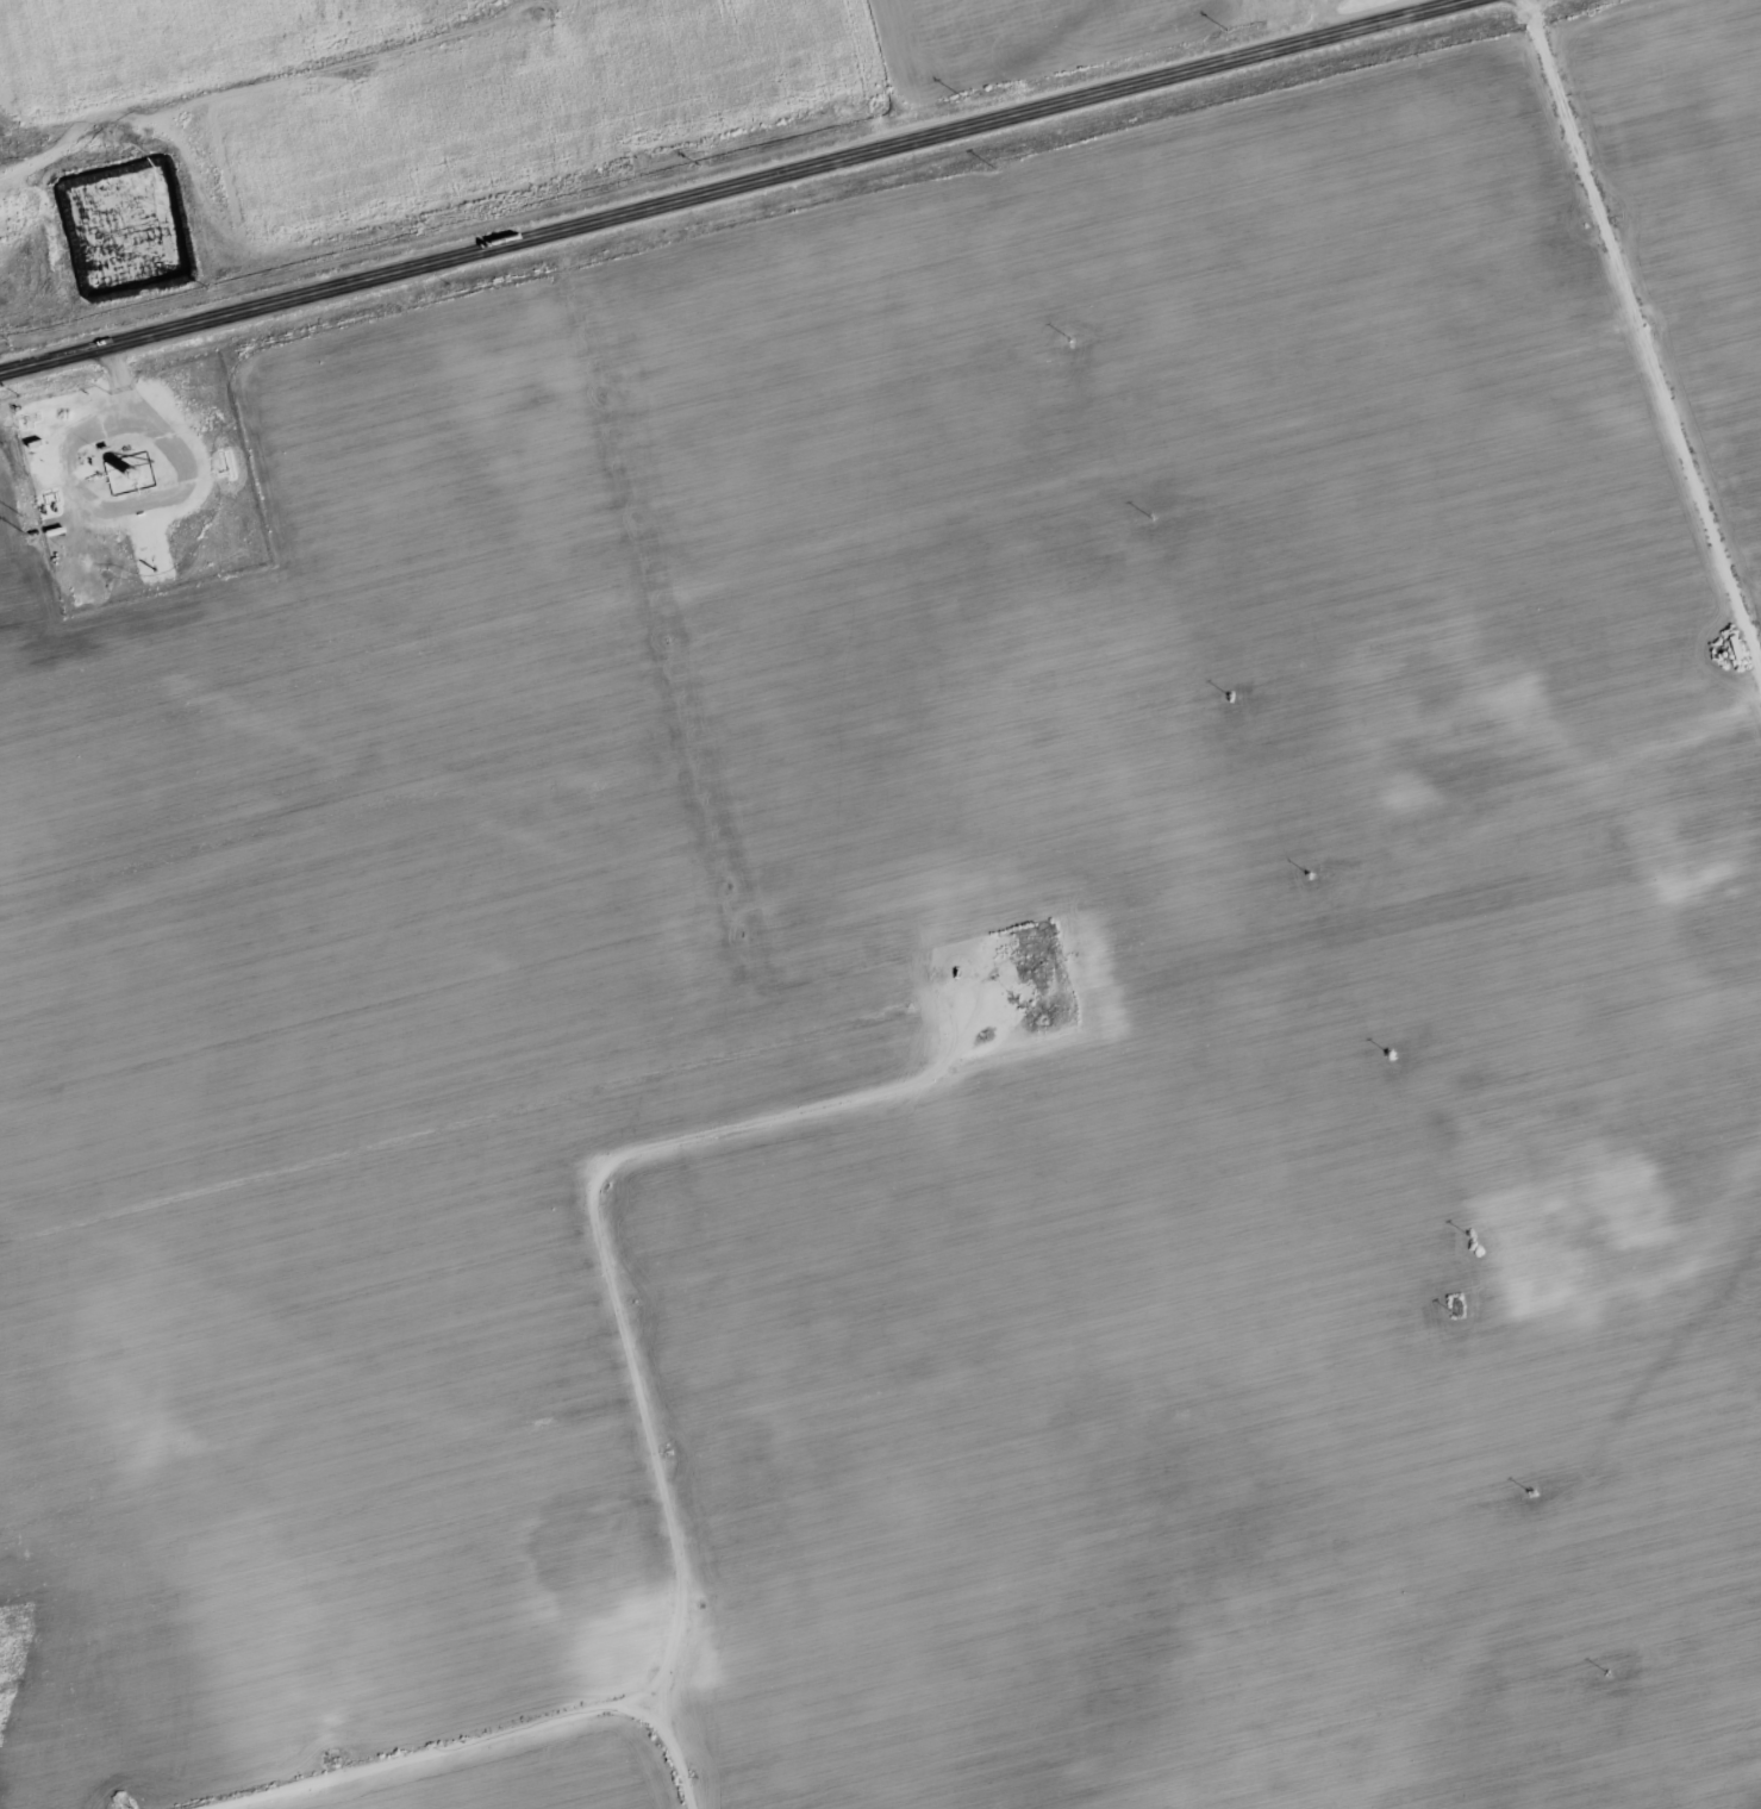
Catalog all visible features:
road: (730, 185)

